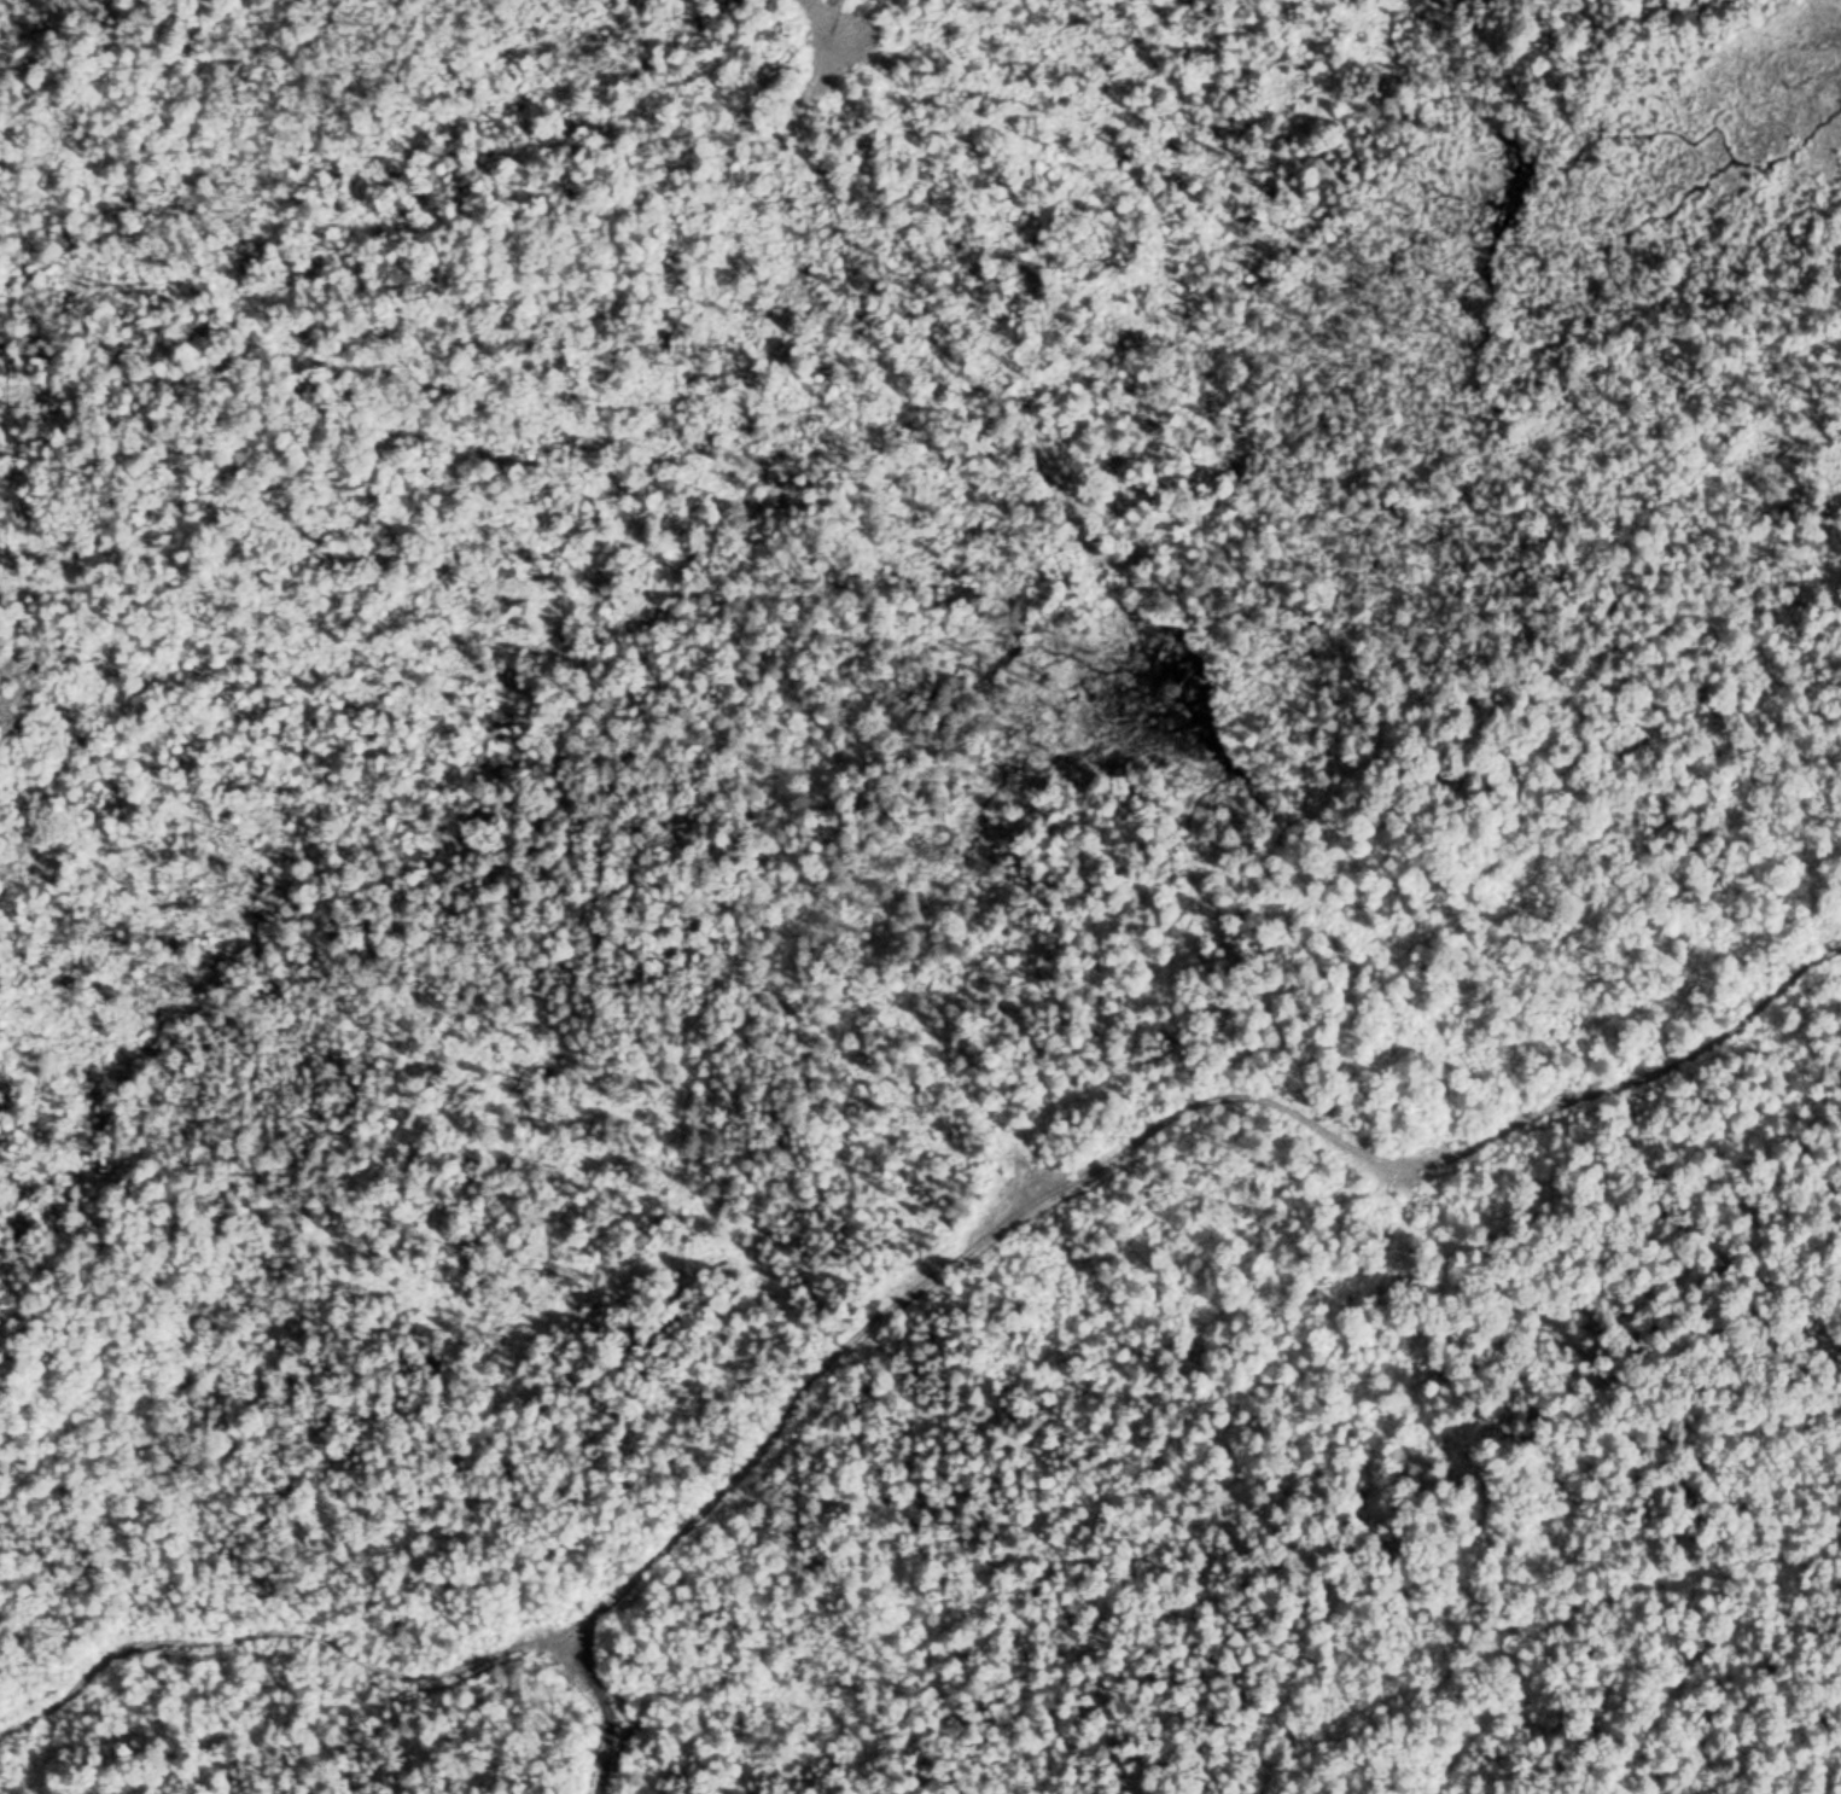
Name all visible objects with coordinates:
road: (1085, 1175)

